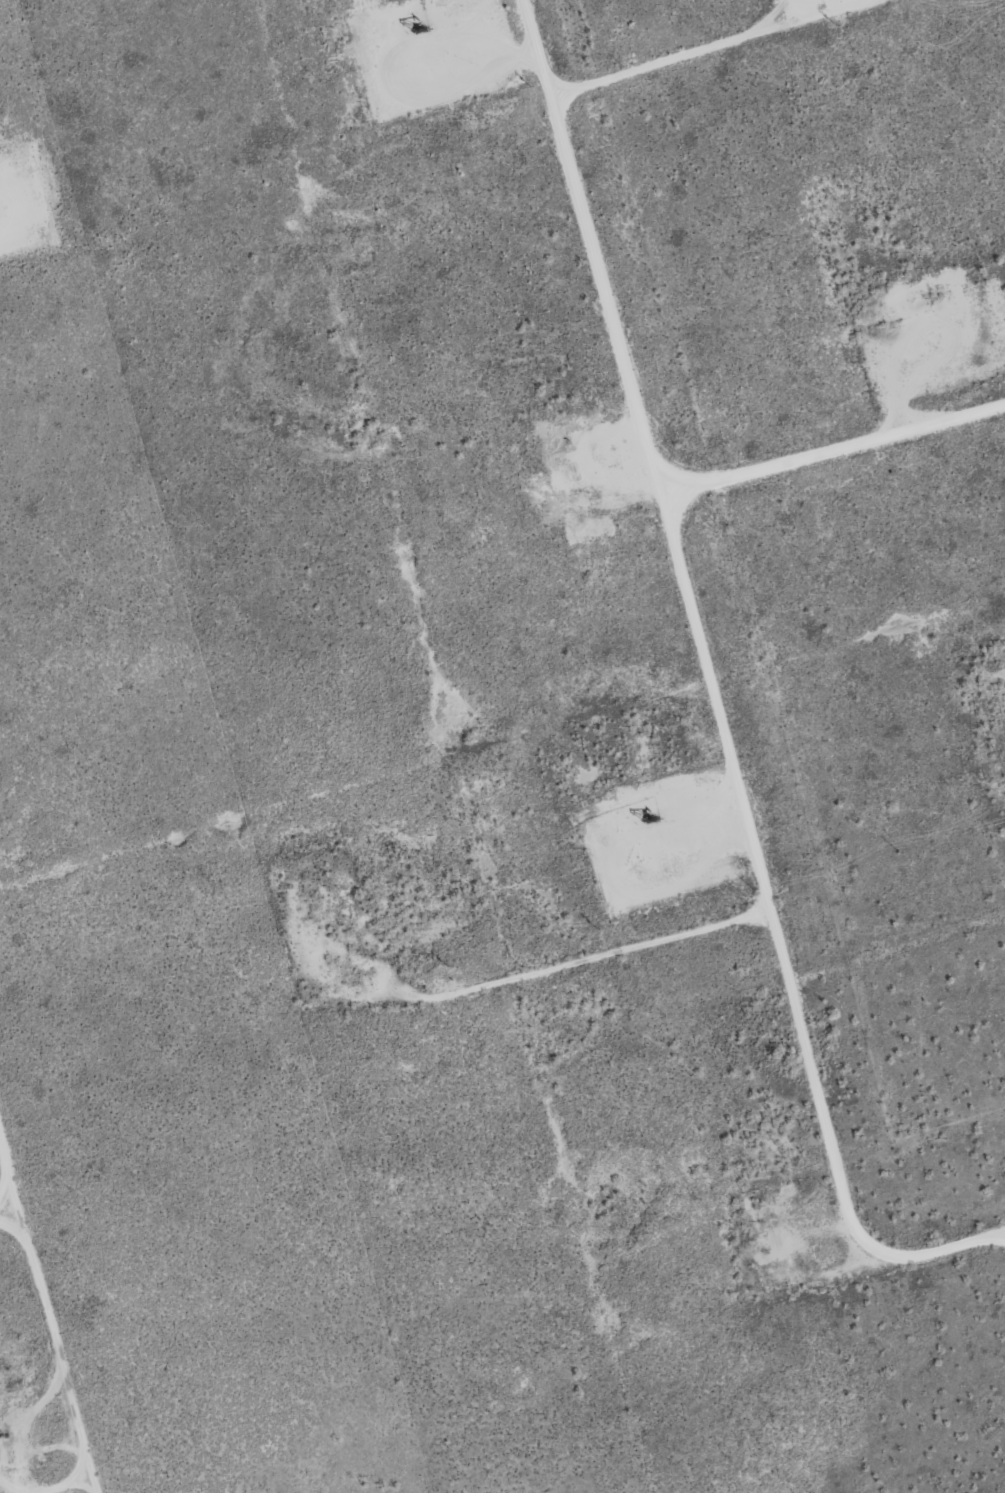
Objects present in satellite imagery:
road: (832, 453)
road: (709, 693)
road: (6, 1206)
road: (54, 1326)

